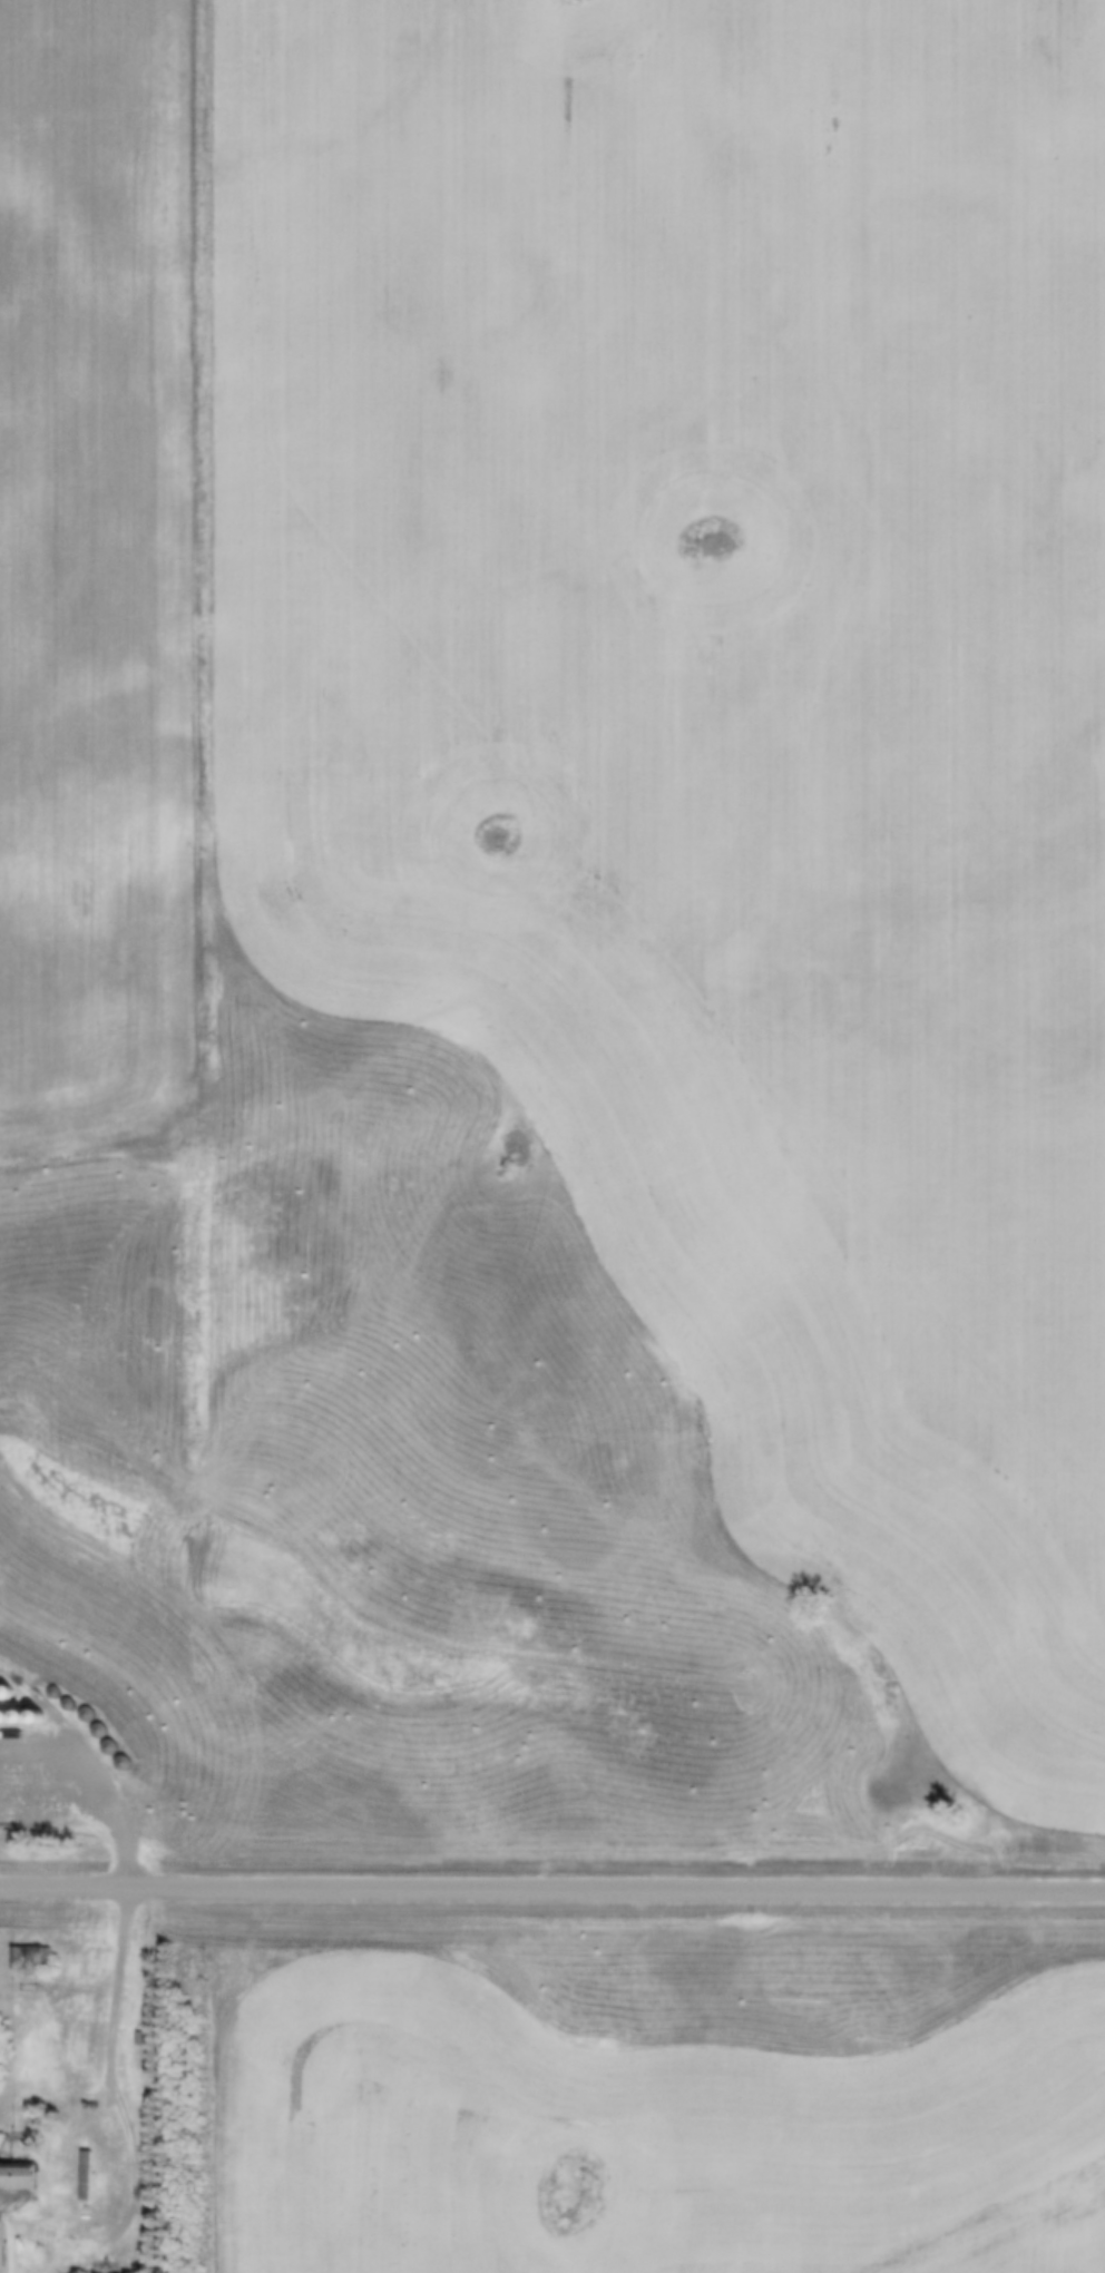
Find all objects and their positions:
road: (551, 1887)
building: (29, 1958)
road: (118, 1986)
building: (139, 2038)
building: (84, 2175)
building: (17, 2177)
road: (7, 2216)

